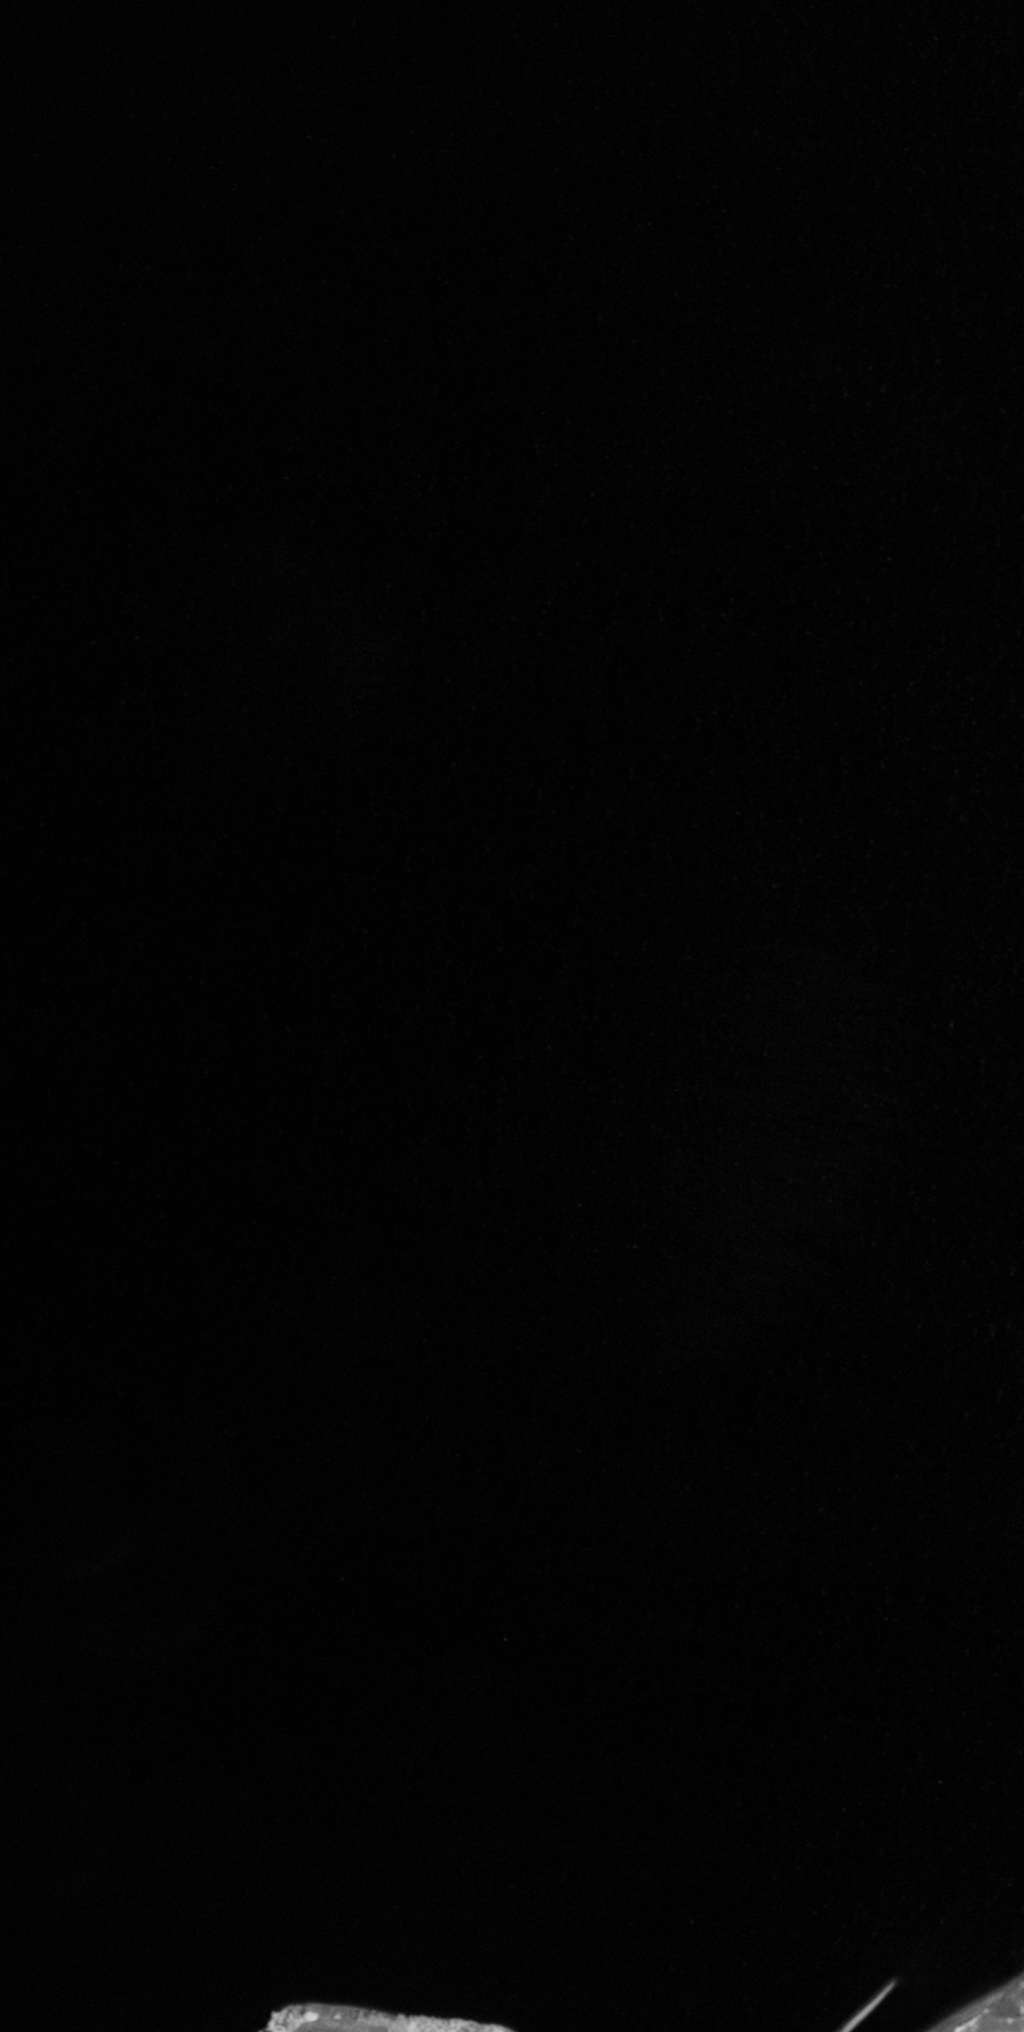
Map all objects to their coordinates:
river: (870, 79)
road: (338, 2021)
road: (636, 2024)
road: (352, 2028)

